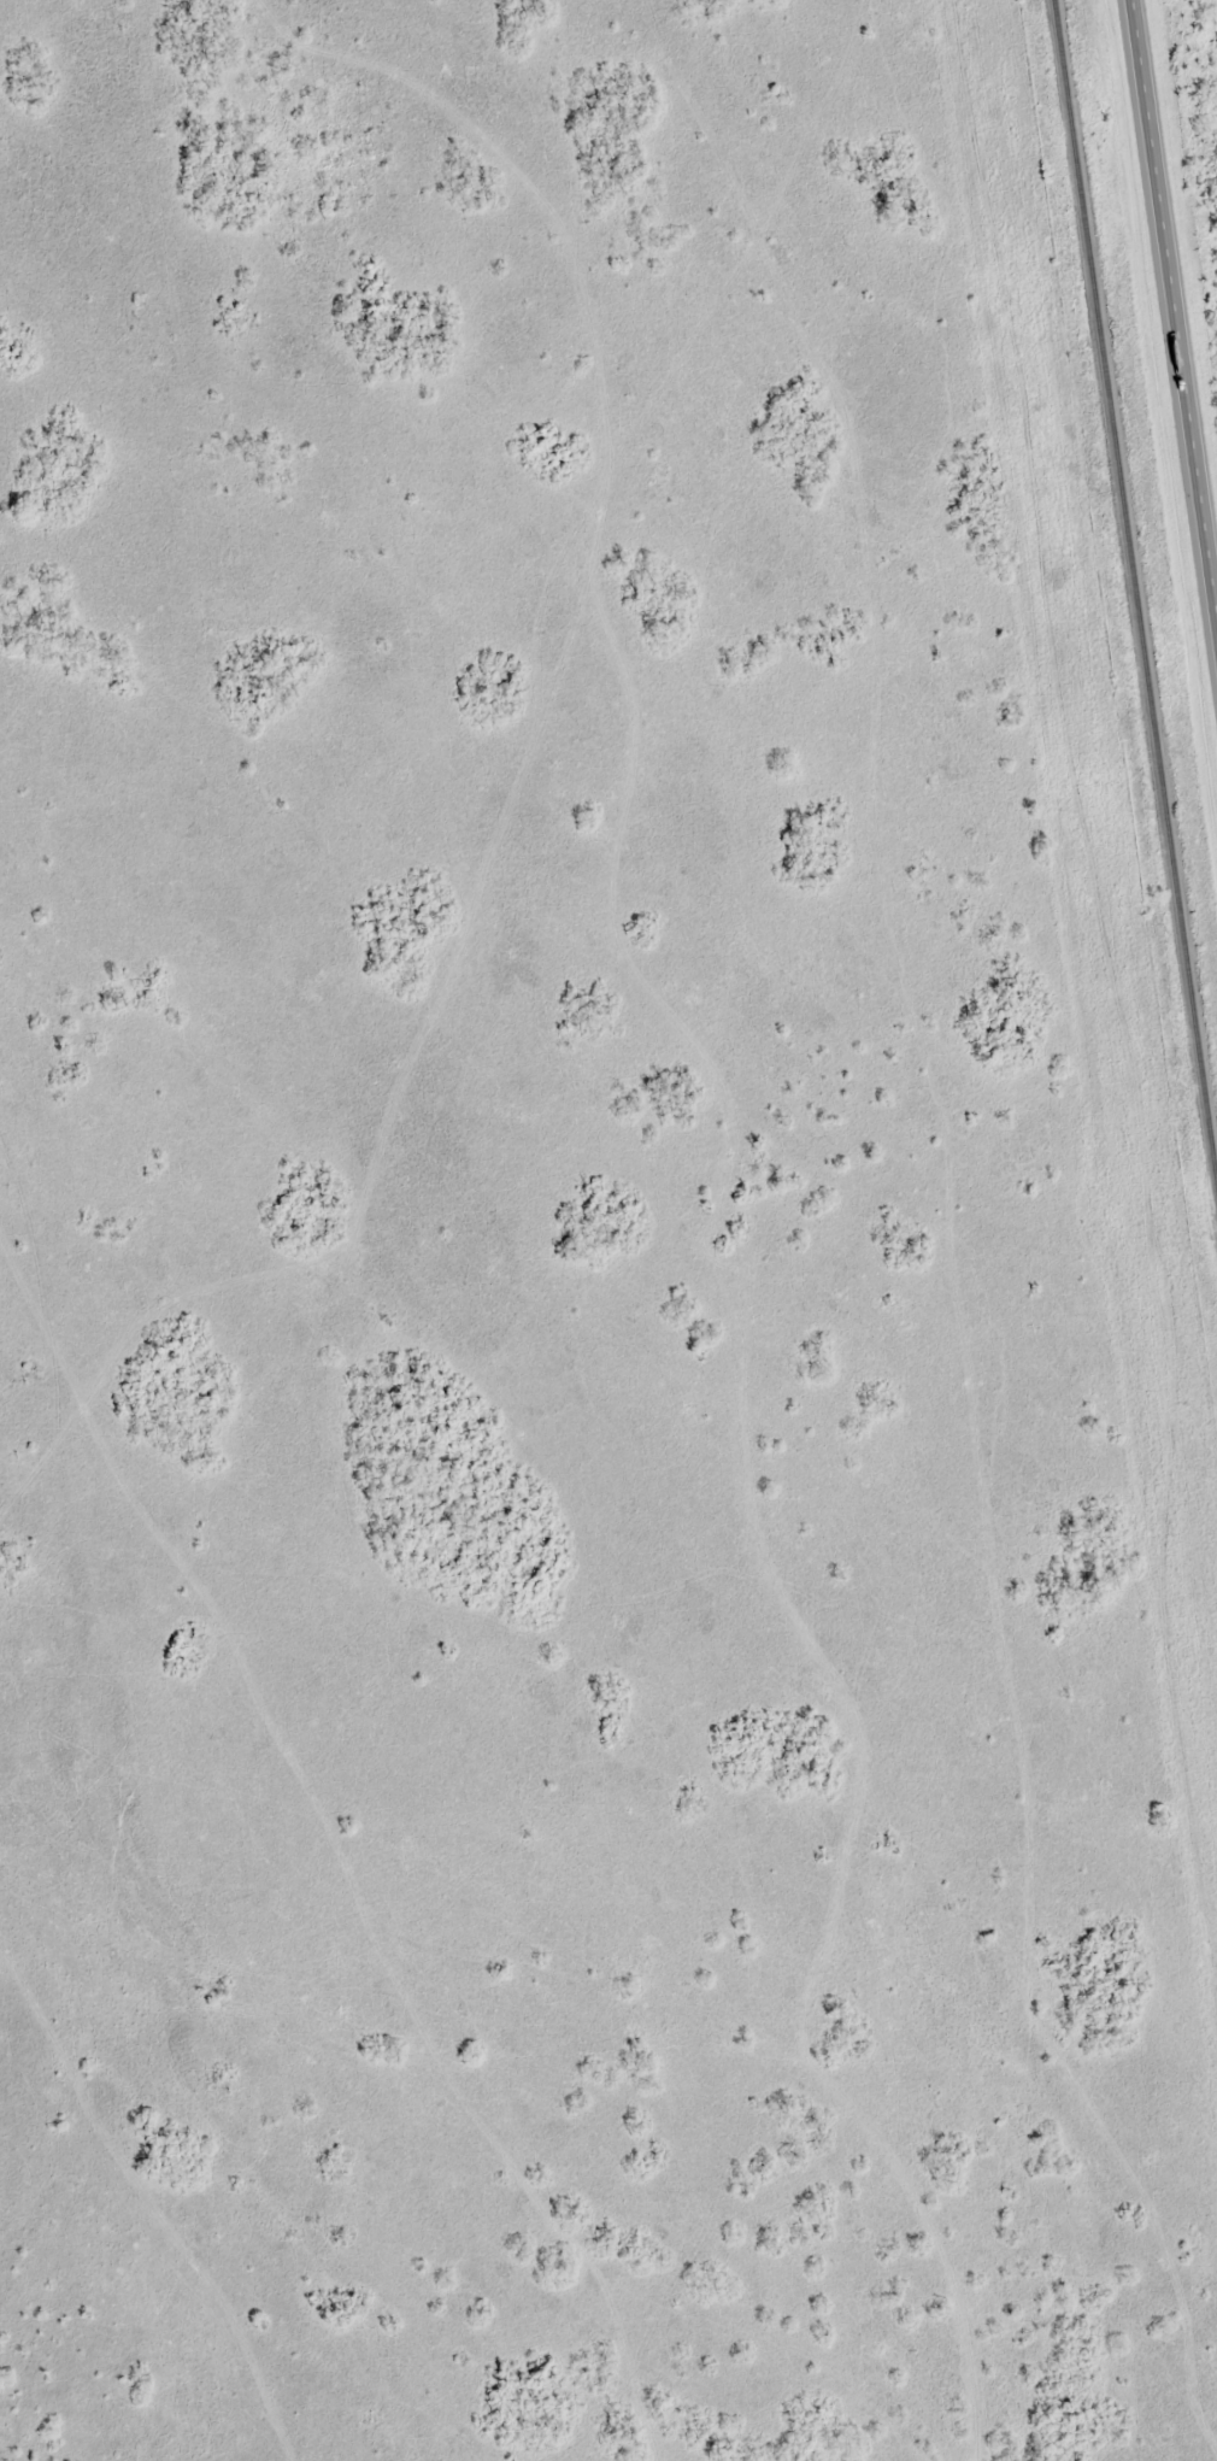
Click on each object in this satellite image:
road: (1178, 266)
railway: (1137, 572)

